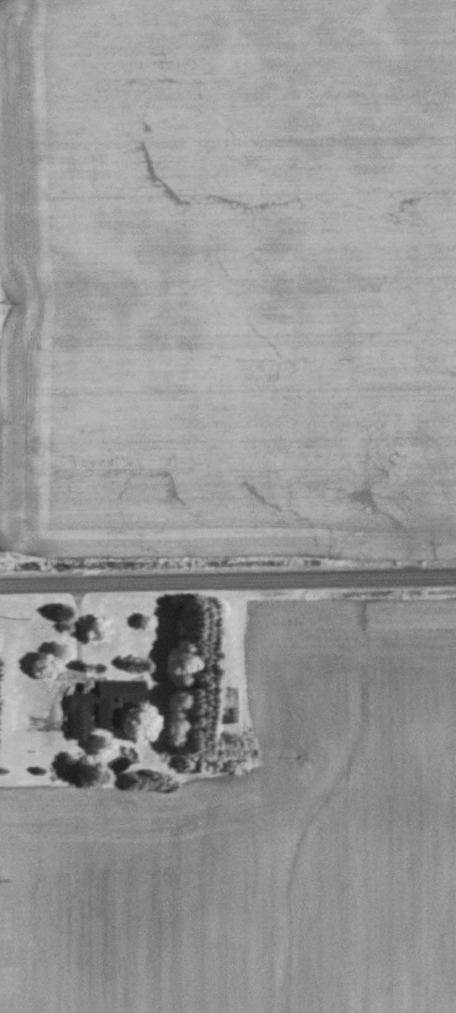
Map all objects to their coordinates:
road: (227, 578)
road: (72, 647)
building: (228, 706)
building: (102, 707)

